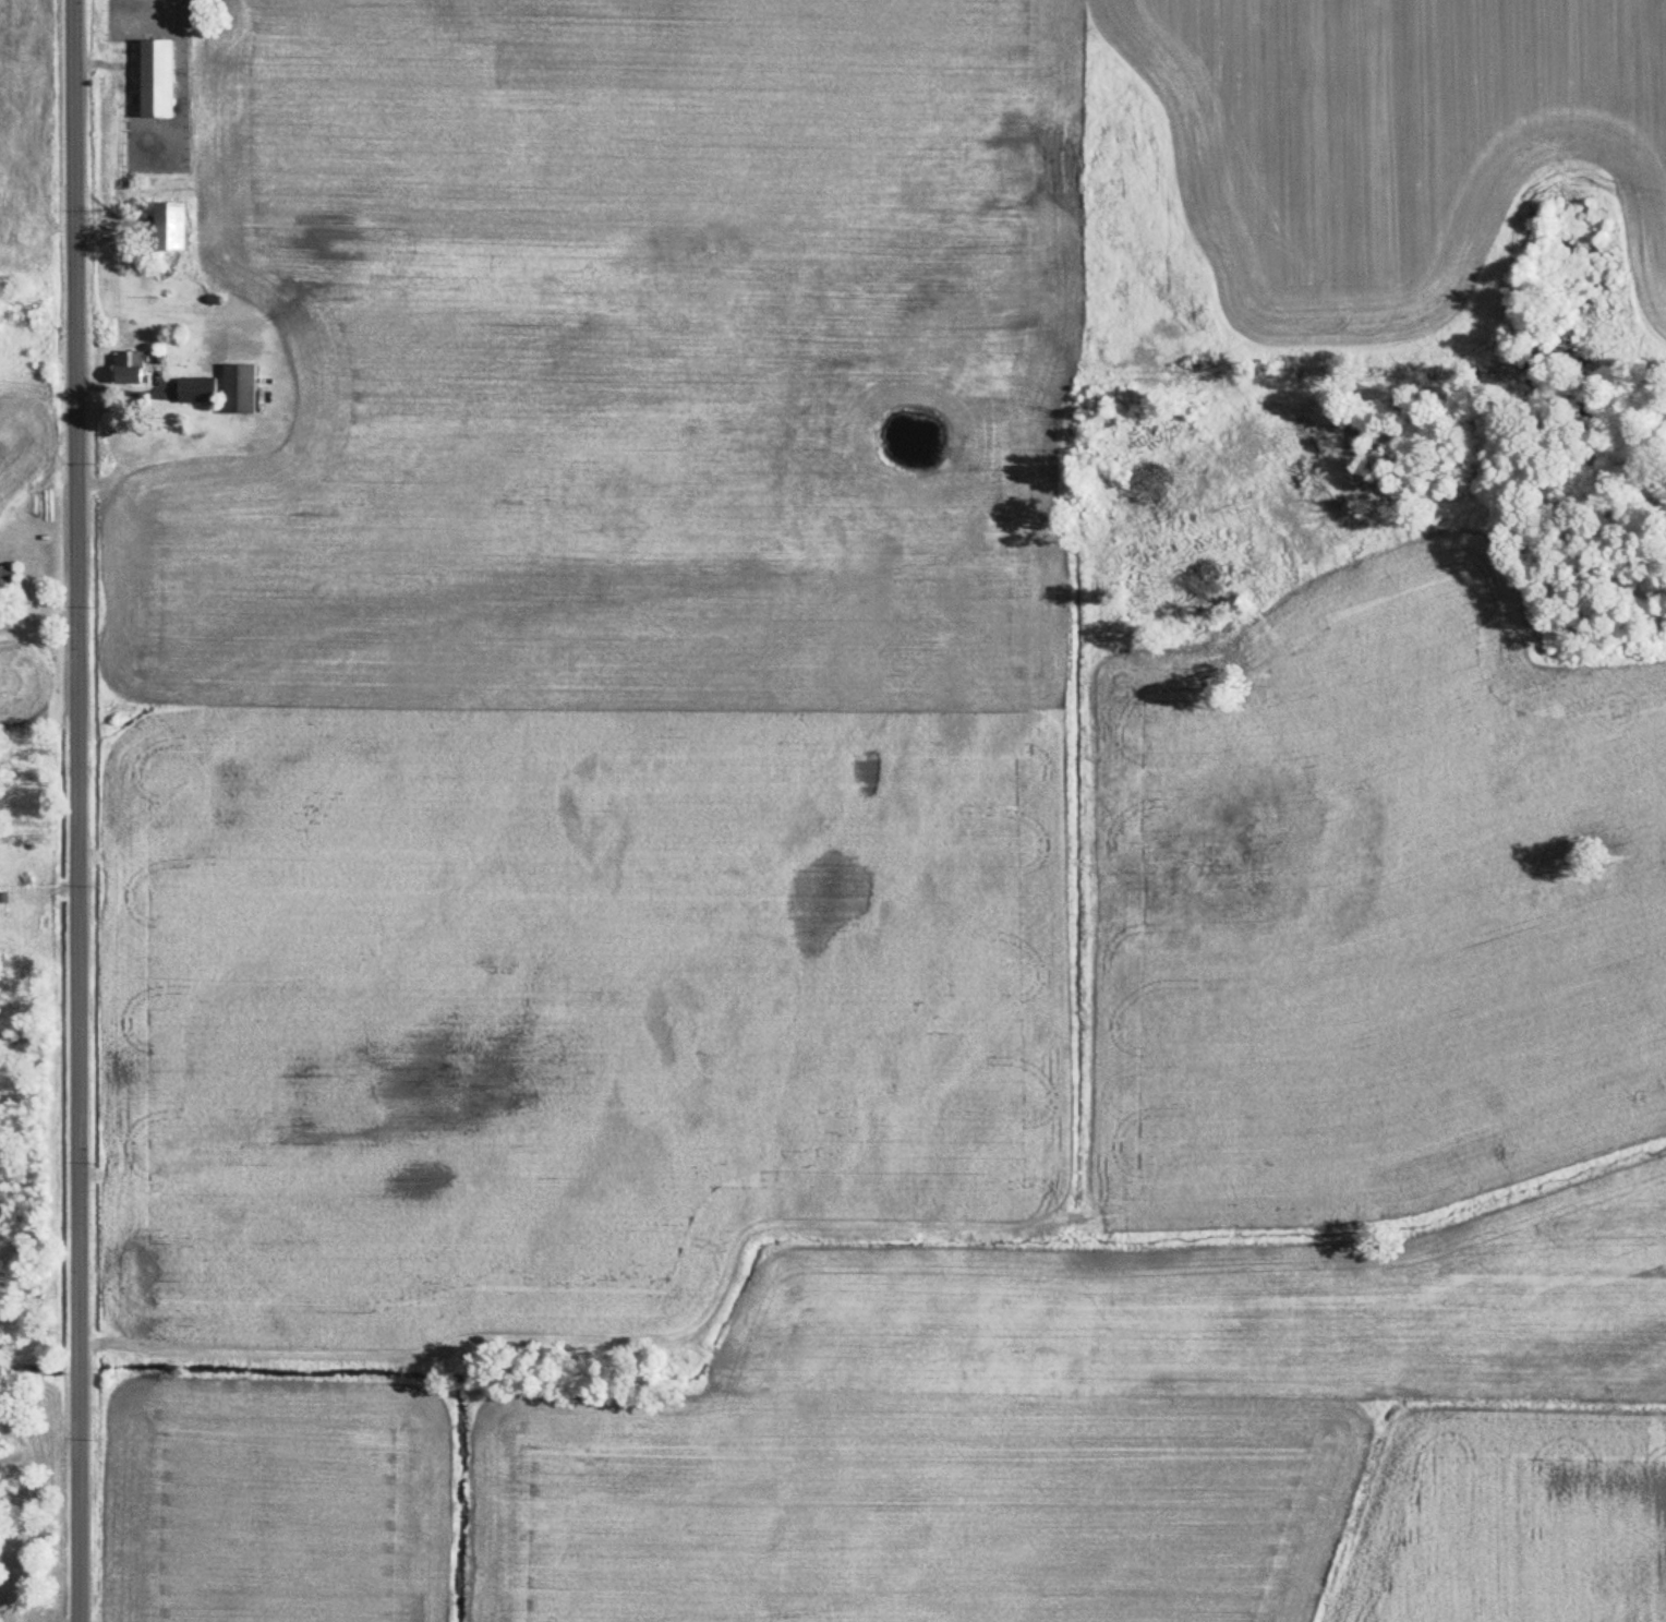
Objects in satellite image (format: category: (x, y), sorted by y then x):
building: (160, 77)
building: (174, 225)
building: (132, 365)
building: (241, 387)
building: (200, 388)
building: (7, 580)
road: (77, 810)

